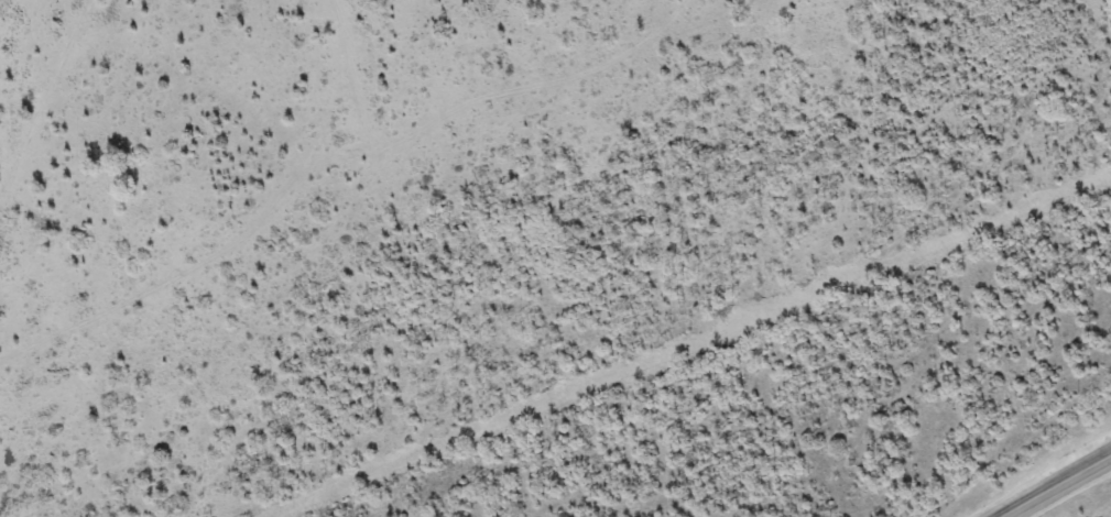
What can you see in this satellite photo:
road: (1056, 485)

